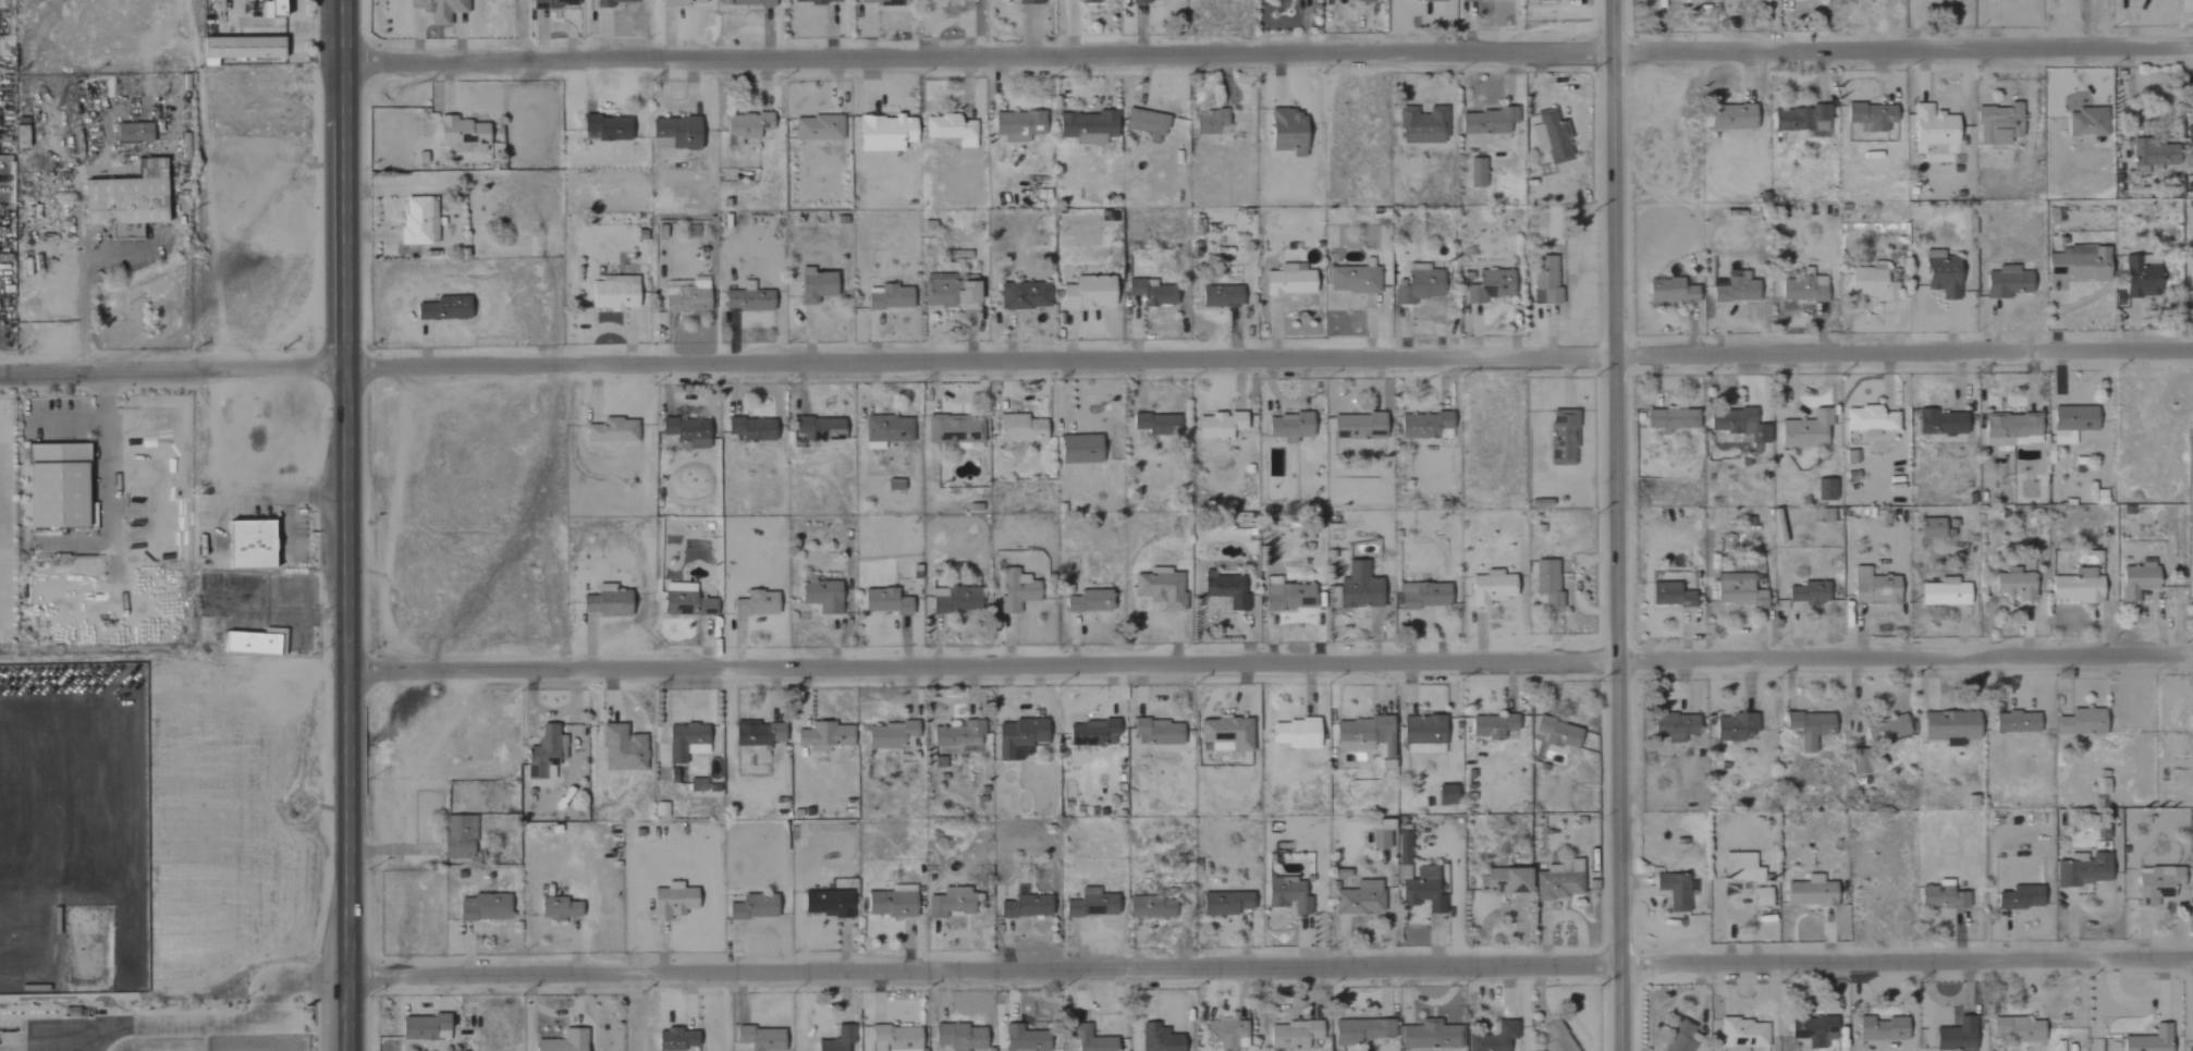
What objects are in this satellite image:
building: (1081, 0)
building: (1277, 0)
building: (1360, 0)
building: (1478, 0)
building: (1545, 0)
building: (813, 1)
building: (1138, 1)
building: (609, 2)
building: (679, 2)
building: (749, 2)
building: (881, 2)
building: (945, 2)
building: (1028, 2)
building: (552, 3)
building: (438, 9)
building: (237, 48)
road: (1264, 57)
building: (1871, 117)
building: (1731, 118)
building: (1800, 120)
building: (1485, 121)
building: (1209, 122)
building: (1145, 124)
building: (1998, 124)
building: (2086, 124)
building: (1017, 125)
building: (1085, 126)
building: (1422, 126)
building: (1933, 126)
building: (607, 127)
building: (744, 127)
building: (817, 129)
building: (948, 130)
building: (132, 132)
building: (1286, 132)
building: (883, 133)
building: (673, 134)
building: (460, 135)
building: (19, 136)
building: (2188, 136)
building: (1551, 137)
building: (2149, 155)
building: (1475, 173)
building: (125, 197)
building: (417, 220)
building: (2078, 264)
building: (1940, 274)
building: (2140, 277)
building: (1546, 279)
road: (79, 280)
building: (1352, 280)
building: (1287, 281)
building: (2006, 282)
building: (1871, 284)
building: (1485, 285)
building: (813, 286)
building: (1418, 286)
building: (1803, 288)
building: (1736, 289)
building: (1670, 291)
building: (948, 292)
building: (612, 293)
building: (1087, 293)
building: (1150, 293)
building: (1024, 295)
building: (1221, 296)
building: (687, 297)
building: (890, 298)
building: (746, 300)
building: (442, 309)
road: (1267, 360)
road: (170, 369)
building: (1670, 419)
building: (1869, 420)
building: (2071, 423)
building: (1940, 424)
building: (1155, 425)
building: (1422, 425)
building: (1738, 425)
building: (1217, 426)
building: (1288, 427)
building: (1358, 427)
building: (1019, 428)
building: (750, 429)
building: (818, 429)
building: (953, 430)
building: (1805, 430)
building: (2009, 430)
building: (611, 431)
building: (686, 431)
building: (885, 431)
building: (1563, 437)
road: (105, 440)
building: (1078, 450)
building: (58, 485)
building: (893, 486)
building: (1825, 490)
road: (344, 525)
road: (1618, 525)
building: (1929, 528)
building: (247, 546)
building: (2136, 582)
building: (1545, 584)
building: (2014, 586)
building: (2076, 587)
building: (1490, 588)
building: (1873, 588)
building: (1355, 589)
building: (1015, 590)
building: (1159, 590)
building: (1224, 590)
building: (1737, 590)
building: (1944, 592)
building: (1808, 594)
building: (820, 595)
building: (1422, 596)
building: (1669, 596)
building: (1287, 597)
building: (954, 600)
building: (611, 601)
building: (684, 601)
building: (883, 601)
building: (1088, 601)
building: (587, 604)
building: (755, 604)
road: (1269, 664)
building: (2014, 723)
building: (2080, 723)
building: (1491, 726)
building: (1674, 726)
building: (1733, 728)
building: (1949, 728)
building: (2190, 728)
building: (1809, 729)
building: (1886, 730)
building: (1156, 732)
building: (1091, 733)
building: (1422, 733)
building: (1556, 733)
building: (1224, 734)
building: (1294, 734)
building: (756, 735)
building: (824, 735)
building: (1362, 735)
building: (890, 736)
building: (957, 737)
building: (1018, 738)
building: (685, 742)
building: (621, 749)
building: (544, 754)
building: (1859, 765)
building: (697, 784)
building: (1445, 795)
building: (1380, 835)
building: (457, 838)
building: (1402, 847)
building: (1740, 868)
building: (2083, 870)
building: (1559, 880)
building: (1503, 881)
building: (2156, 884)
building: (1422, 891)
building: (1675, 891)
building: (1810, 893)
building: (1287, 895)
building: (1761, 897)
building: (1941, 897)
building: (2019, 899)
building: (1359, 900)
building: (671, 902)
building: (891, 903)
building: (951, 903)
building: (825, 904)
building: (1091, 904)
building: (1225, 904)
building: (1025, 907)
building: (482, 908)
building: (558, 908)
building: (751, 908)
building: (1150, 908)
road: (1267, 968)
building: (1441, 1016)
road: (217, 1024)
building: (424, 1028)
building: (1880, 1029)
building: (1360, 1030)
building: (1813, 1030)
building: (2014, 1030)
building: (1226, 1035)
building: (1292, 1035)
building: (1742, 1035)
building: (1428, 1036)
building: (958, 1037)
building: (894, 1038)
building: (1494, 1038)
building: (1556, 1038)
building: (1680, 1038)
building: (759, 1039)
building: (1022, 1039)
building: (1156, 1039)
building: (676, 1040)
building: (837, 1040)
building: (2148, 1040)
building: (563, 1041)
building: (1092, 1042)

